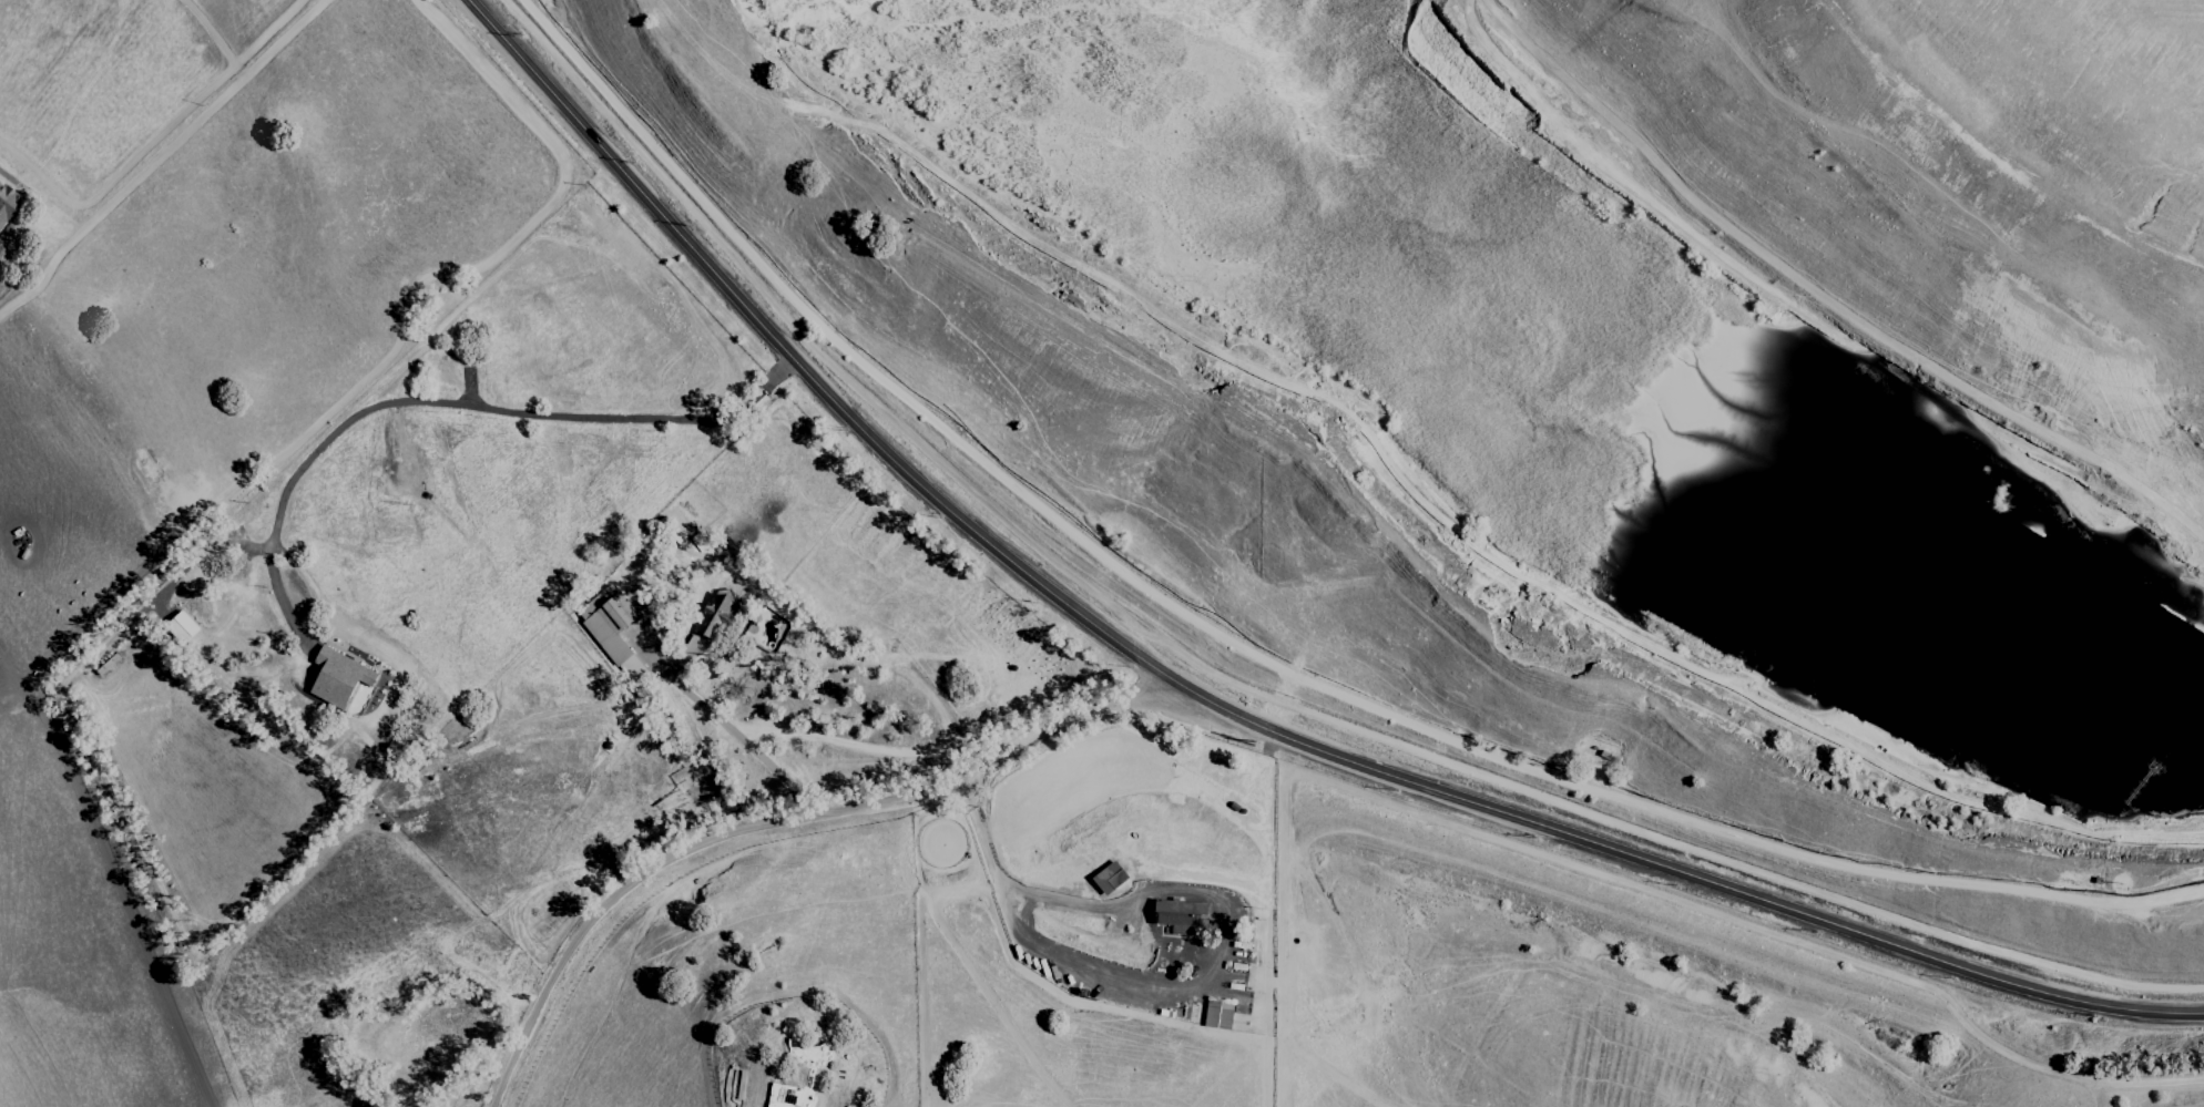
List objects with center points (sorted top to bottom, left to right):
crop: (2174, 28)
building: (6, 201)
road: (502, 410)
building: (714, 614)
building: (610, 623)
building: (181, 626)
building: (632, 667)
building: (338, 676)
road: (1216, 709)
road: (732, 728)
road: (777, 817)
road: (981, 830)
building: (1109, 878)
road: (1055, 900)
road: (1218, 906)
building: (1181, 914)
road: (1154, 944)
road: (1060, 968)
building: (1217, 1014)

